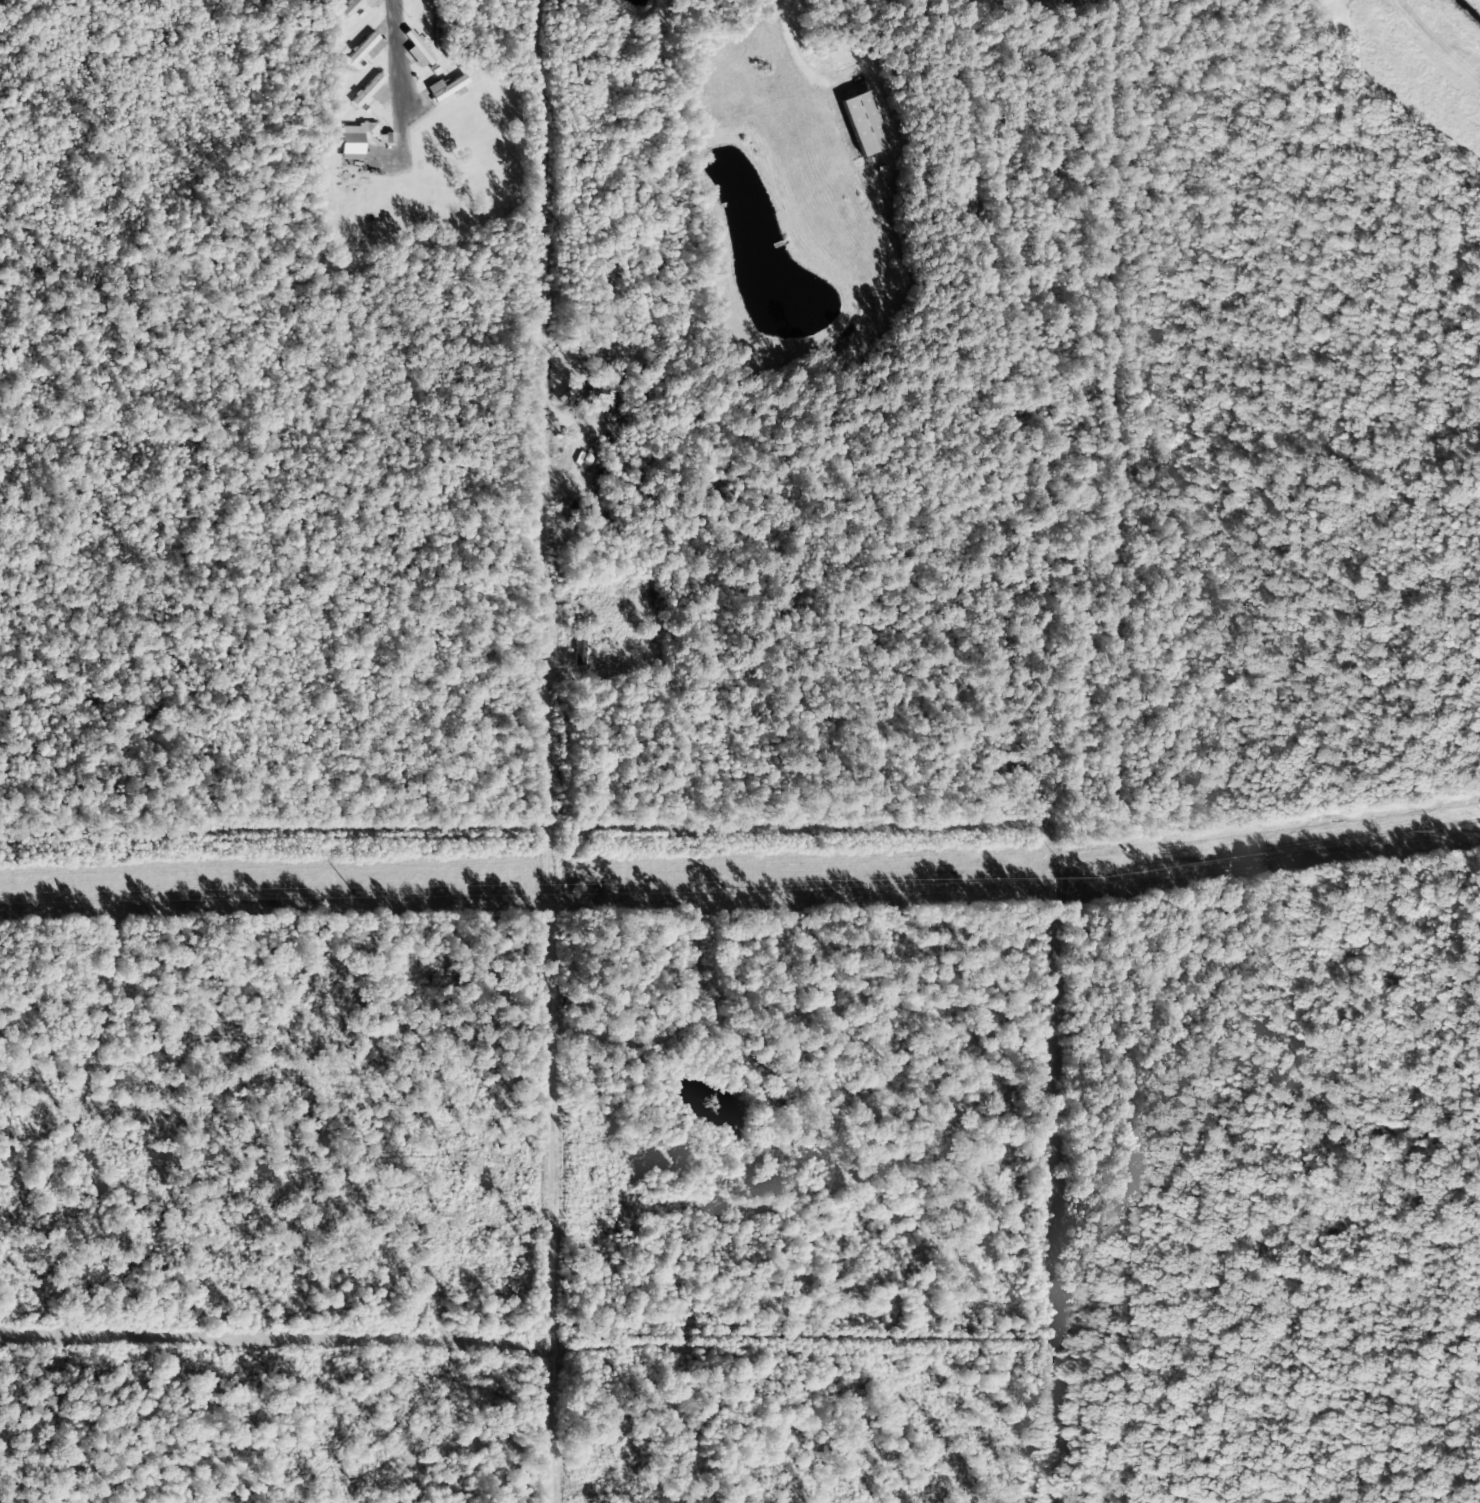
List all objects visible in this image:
building: (354, 6)
building: (363, 50)
building: (417, 51)
road: (395, 57)
building: (446, 88)
building: (371, 92)
building: (864, 124)
building: (386, 138)
building: (355, 140)
building: (615, 374)
building: (604, 401)
road: (542, 514)
building: (578, 635)

